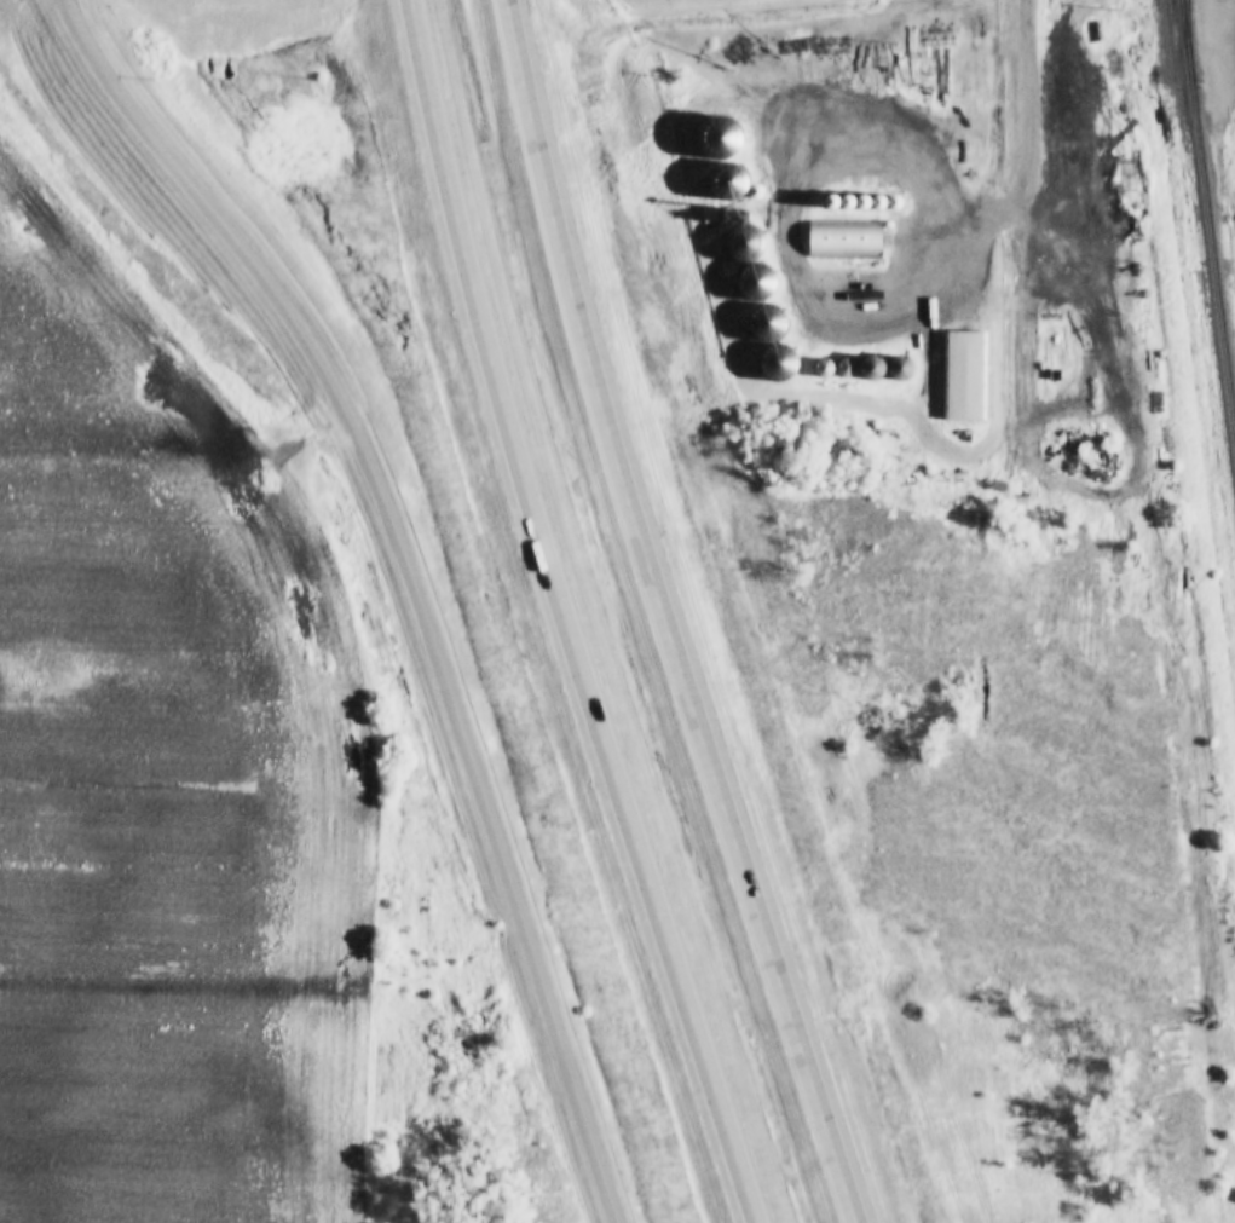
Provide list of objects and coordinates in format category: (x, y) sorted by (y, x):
railway: (1185, 39)
building: (712, 114)
road: (1026, 142)
building: (868, 181)
silo: (868, 181)
building: (804, 184)
building: (836, 200)
silo: (836, 200)
building: (854, 200)
silo: (854, 200)
building: (871, 200)
silo: (871, 200)
road: (774, 214)
railway: (1206, 232)
building: (844, 238)
building: (745, 240)
silo: (745, 240)
building: (755, 281)
silo: (755, 281)
building: (767, 321)
silo: (767, 321)
building: (777, 362)
silo: (777, 362)
building: (824, 365)
silo: (824, 365)
building: (847, 367)
silo: (847, 367)
building: (876, 367)
silo: (876, 367)
building: (904, 367)
silo: (904, 367)
building: (960, 373)
road: (409, 576)
road: (562, 616)
road: (663, 616)
crop: (165, 772)

